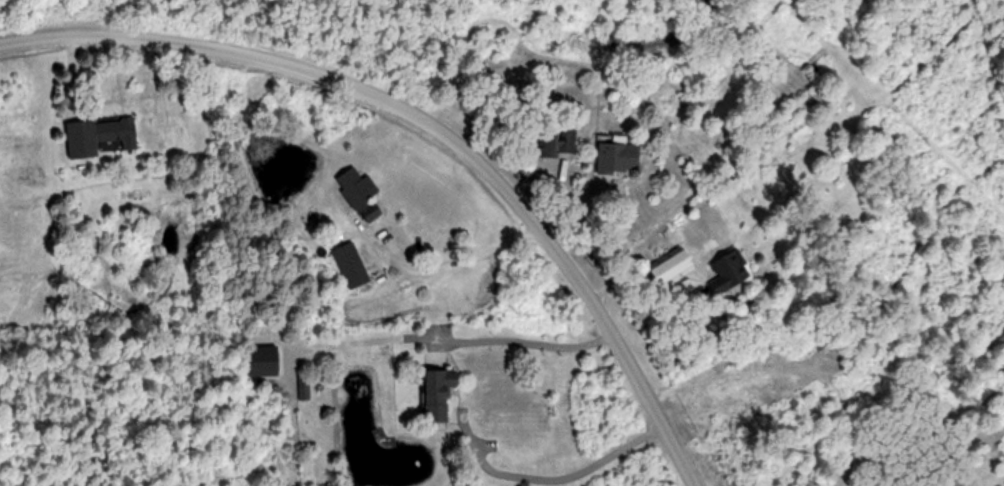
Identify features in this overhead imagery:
road: (434, 118)
building: (121, 130)
building: (799, 131)
building: (567, 140)
building: (620, 157)
building: (361, 194)
building: (674, 265)
building: (352, 266)
road: (456, 267)
building: (729, 273)
road: (624, 281)
road: (462, 342)
building: (266, 362)
building: (441, 394)
road: (545, 482)

